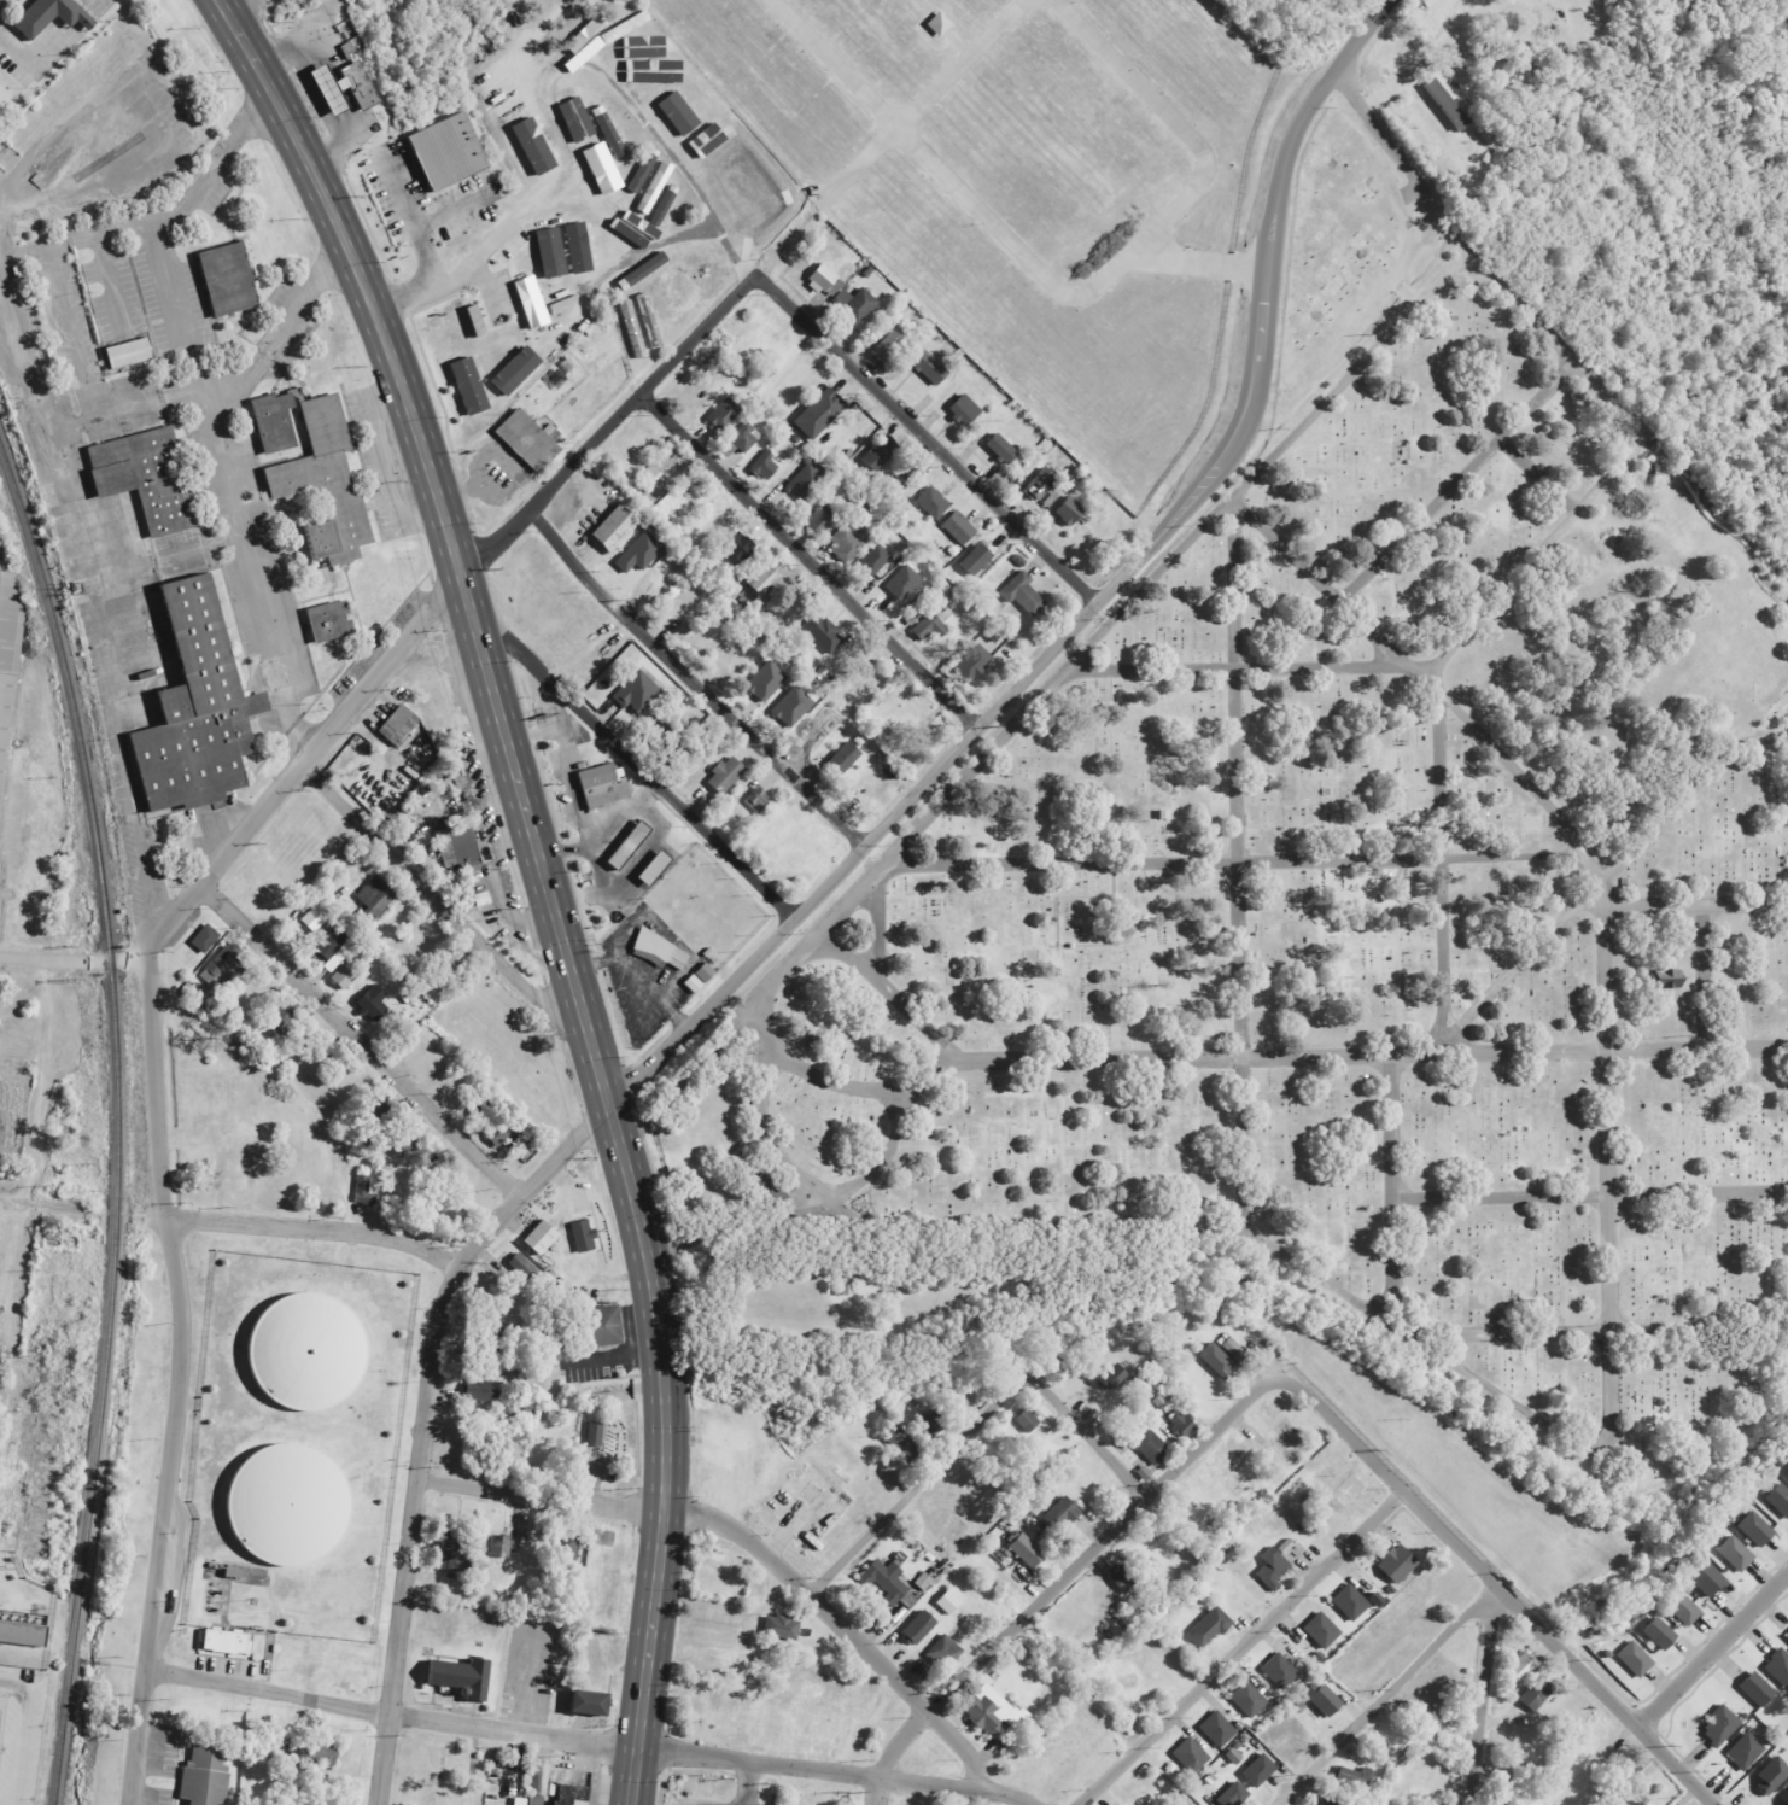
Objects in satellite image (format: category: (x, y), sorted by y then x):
road: (236, 6)
building: (51, 16)
building: (939, 25)
building: (624, 28)
road: (1367, 31)
building: (644, 48)
road: (836, 64)
building: (661, 74)
building: (346, 88)
road: (929, 99)
road: (627, 103)
building: (1447, 105)
building: (679, 115)
building: (577, 119)
building: (621, 123)
building: (609, 133)
road: (1381, 136)
building: (537, 142)
building: (444, 150)
building: (521, 152)
building: (602, 169)
building: (626, 218)
road: (1145, 244)
building: (551, 253)
road: (623, 255)
road: (478, 261)
road: (1204, 262)
building: (823, 279)
building: (228, 280)
building: (532, 303)
building: (855, 305)
building: (649, 321)
building: (477, 322)
building: (632, 331)
building: (888, 346)
building: (129, 354)
building: (930, 368)
building: (516, 372)
building: (469, 387)
building: (964, 410)
building: (820, 413)
building: (724, 414)
building: (276, 421)
building: (744, 437)
road: (925, 438)
building: (528, 440)
building: (1001, 449)
building: (880, 452)
building: (765, 467)
road: (1460, 475)
road: (1539, 477)
building: (146, 478)
building: (325, 484)
building: (805, 484)
building: (1041, 484)
road: (1234, 496)
building: (933, 503)
building: (1069, 512)
building: (820, 521)
building: (614, 527)
building: (959, 528)
building: (849, 541)
building: (737, 549)
building: (639, 553)
road: (807, 560)
building: (976, 560)
building: (764, 579)
building: (904, 583)
building: (1024, 595)
road: (426, 615)
building: (329, 620)
building: (934, 623)
building: (823, 633)
road: (1064, 635)
building: (8, 664)
building: (974, 664)
road: (1243, 665)
building: (766, 682)
road: (691, 683)
building: (637, 693)
building: (793, 707)
building: (198, 709)
building: (398, 725)
building: (843, 759)
road: (639, 769)
building: (726, 776)
building: (603, 785)
building: (756, 800)
building: (458, 845)
building: (629, 845)
road: (1436, 851)
road: (536, 852)
road: (1234, 859)
building: (655, 868)
road: (1602, 872)
road: (432, 896)
building: (375, 898)
road: (1696, 898)
road: (1605, 904)
park: (1374, 911)
road: (877, 927)
building: (205, 940)
building: (332, 944)
building: (658, 950)
road: (54, 962)
building: (220, 964)
building: (344, 979)
building: (699, 979)
building: (1667, 979)
building: (373, 1004)
building: (282, 1020)
road: (360, 1040)
road: (1275, 1056)
road: (801, 1067)
road: (1241, 1069)
road: (917, 1070)
railway: (116, 1118)
building: (504, 1128)
building: (404, 1141)
road: (805, 1185)
road: (1391, 1187)
building: (363, 1192)
road: (1589, 1194)
road: (40, 1205)
road: (311, 1228)
building: (584, 1237)
building: (541, 1238)
building: (522, 1267)
building: (604, 1325)
road: (1600, 1332)
building: (305, 1349)
water tower: (305, 1349)
building: (1235, 1351)
building: (1217, 1360)
building: (1114, 1375)
road: (179, 1378)
building: (477, 1388)
building: (1028, 1420)
road: (422, 1425)
building: (1186, 1425)
building: (594, 1433)
road: (1087, 1437)
building: (902, 1444)
building: (1151, 1447)
building: (1787, 1476)
road: (916, 1484)
building: (1780, 1500)
building: (286, 1502)
water tower: (286, 1502)
building: (1063, 1514)
building: (1755, 1529)
road: (749, 1541)
building: (501, 1547)
building: (1024, 1549)
building: (456, 1553)
building: (1735, 1554)
building: (1398, 1564)
building: (1274, 1567)
road: (1070, 1571)
building: (1123, 1576)
building: (1708, 1581)
building: (889, 1584)
road: (1500, 1589)
building: (948, 1602)
building: (1350, 1602)
building: (1684, 1610)
building: (782, 1628)
building: (919, 1628)
building: (1209, 1629)
building: (1321, 1631)
building: (23, 1634)
building: (1661, 1634)
building: (1787, 1637)
building: (224, 1642)
road: (1241, 1648)
road: (1712, 1652)
building: (945, 1653)
building: (1635, 1659)
building: (1524, 1666)
building: (1778, 1667)
building: (1280, 1671)
building: (462, 1676)
building: (1757, 1690)
road: (1385, 1694)
road: (1483, 1694)
building: (1537, 1694)
building: (1249, 1700)
building: (1326, 1700)
building: (590, 1702)
building: (994, 1712)
road: (388, 1716)
building: (1720, 1728)
building: (1217, 1729)
building: (1746, 1751)
building: (316, 1752)
building: (1191, 1756)
road: (758, 1764)
building: (1258, 1771)
building: (1772, 1776)
building: (205, 1777)
road: (632, 1777)
building: (1354, 1777)
building: (539, 1778)
road: (956, 1786)
road: (877, 1791)
building: (571, 1794)
building: (1233, 1795)
building: (1783, 1799)
building: (320, 1800)
building: (520, 1801)
building: (1328, 1801)
building: (1632, 1803)

